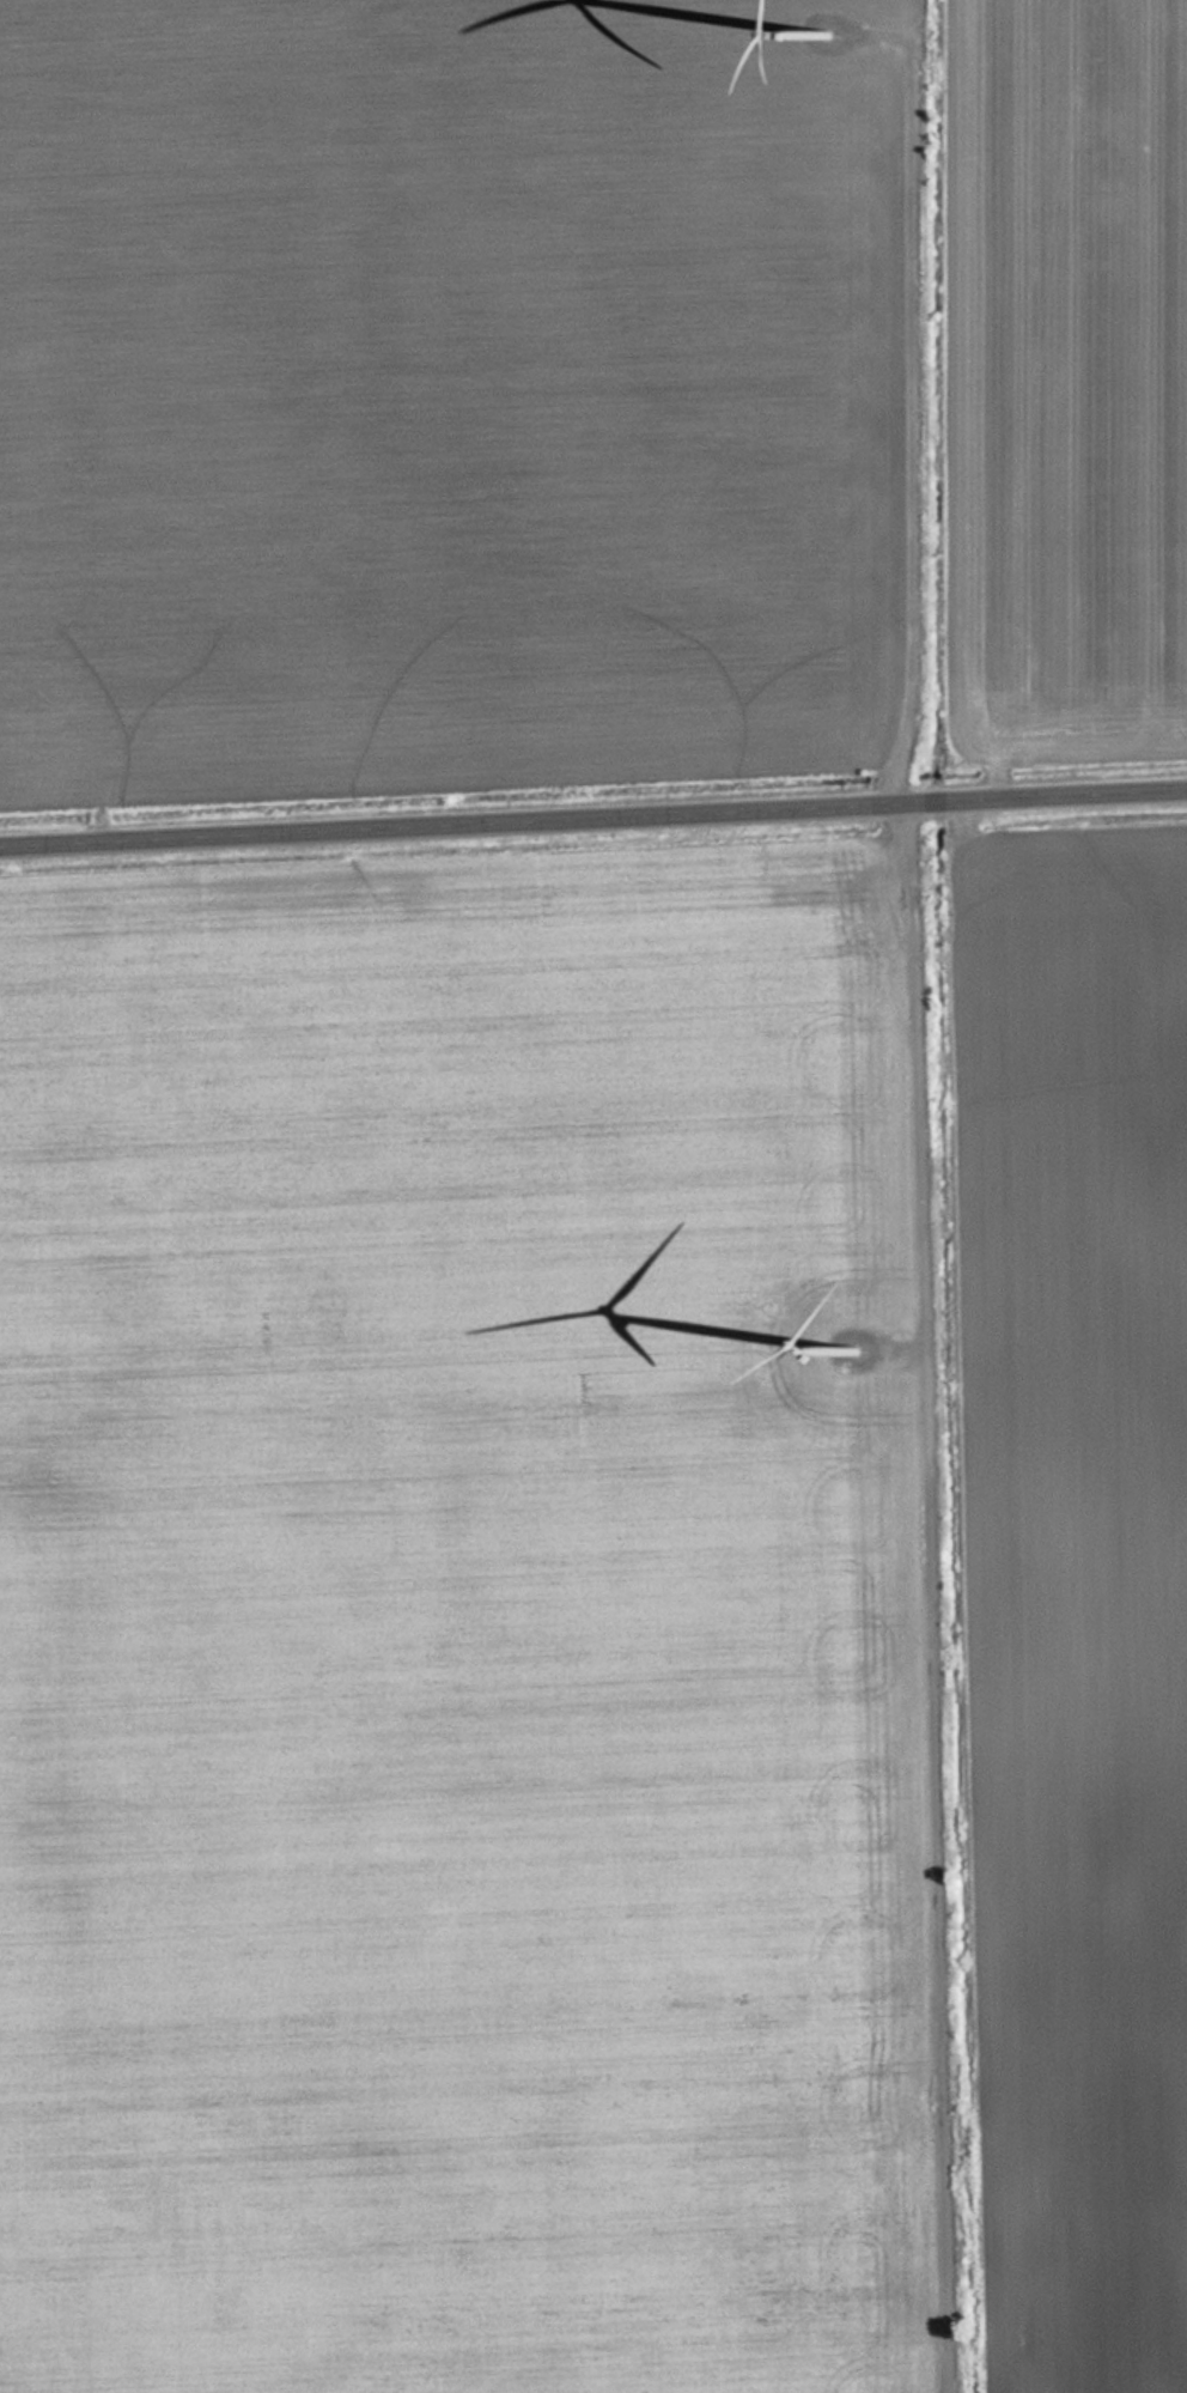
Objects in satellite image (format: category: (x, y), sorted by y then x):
wind turbine: (830, 32)
road: (909, 402)
road: (592, 815)
wind turbine: (854, 1354)
road: (925, 1597)

